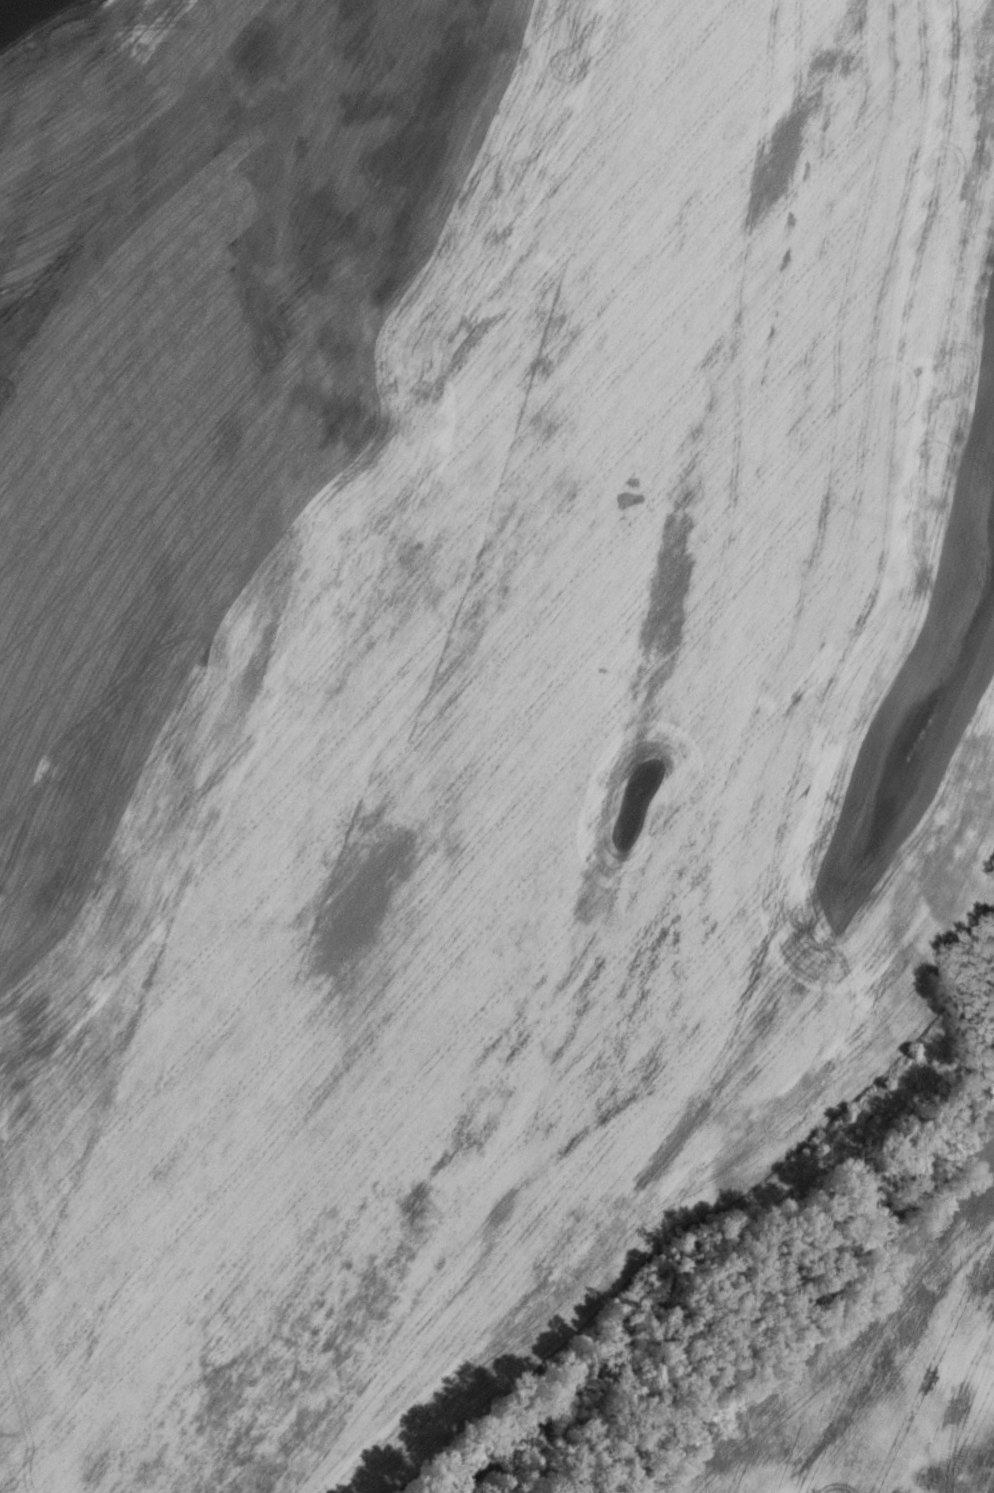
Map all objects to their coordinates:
crop: (463, 680)
crop: (882, 1368)

